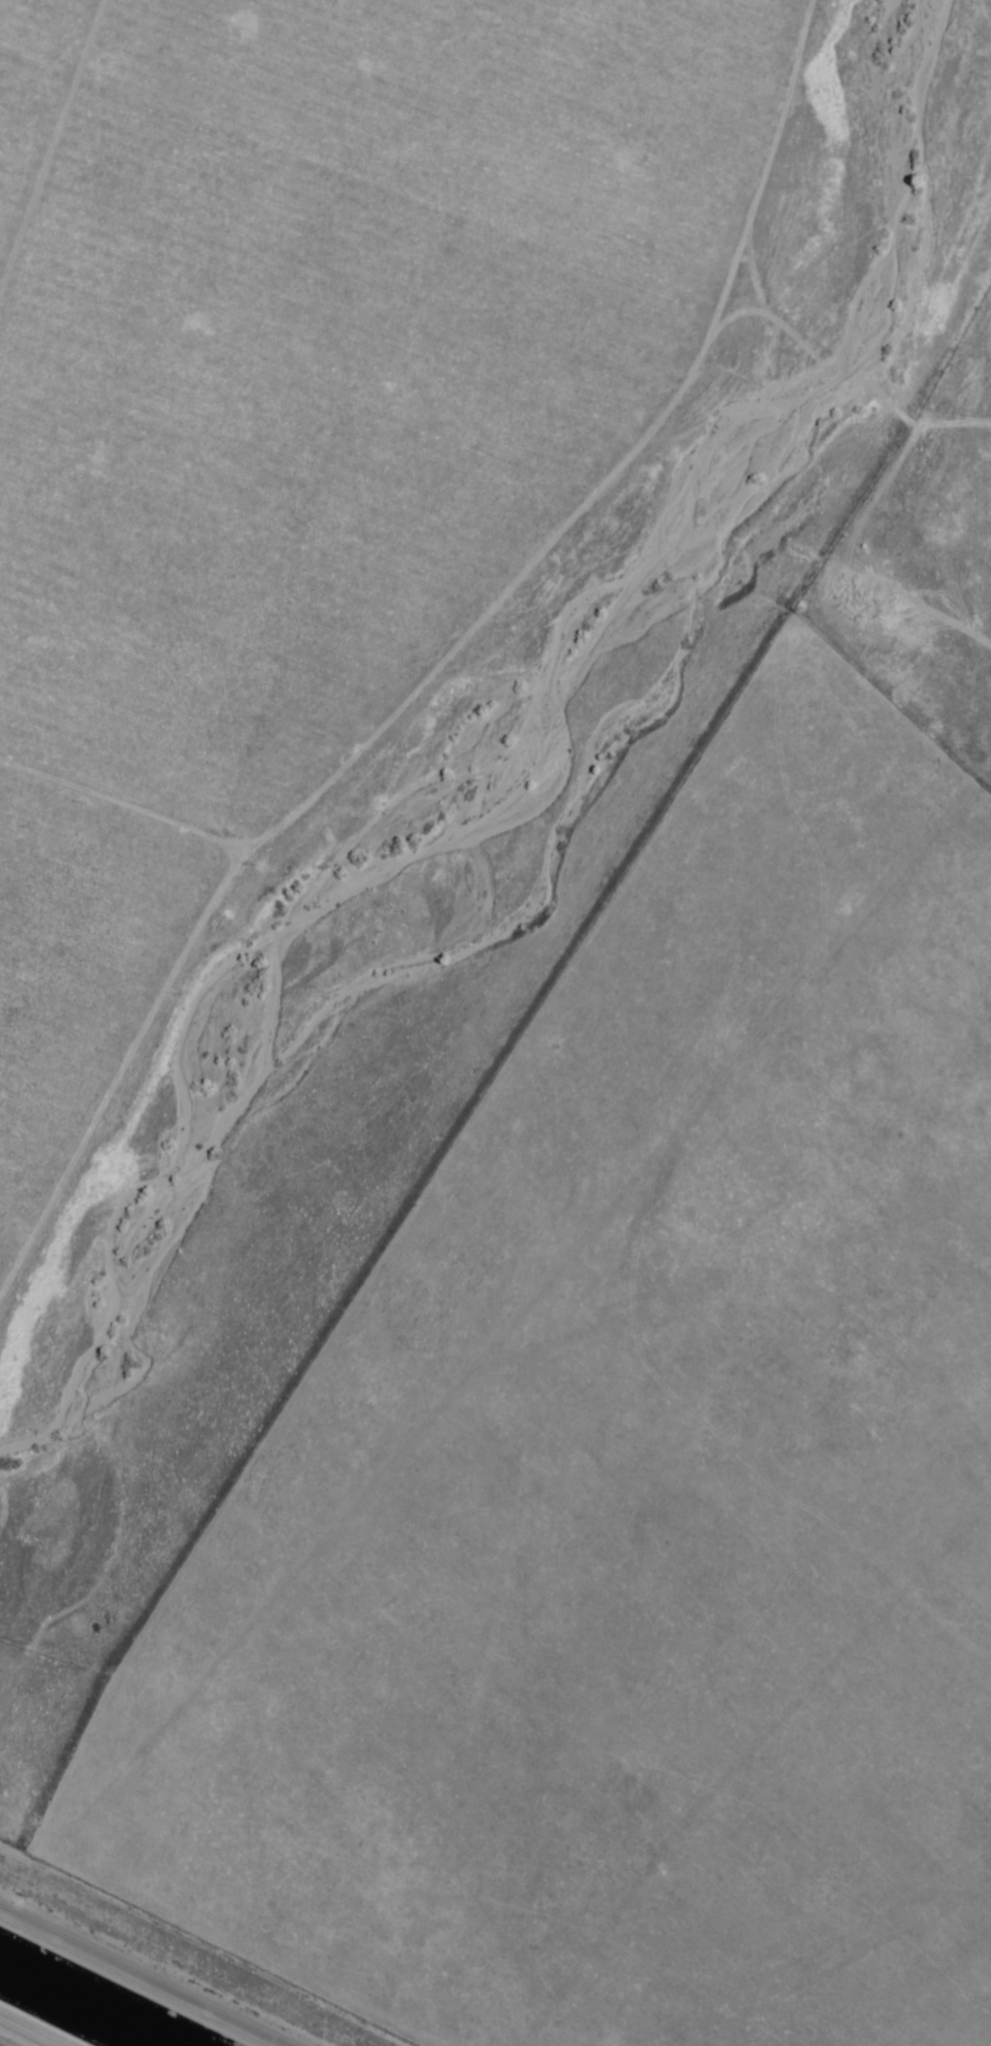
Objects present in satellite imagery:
road: (207, 1943)
road: (145, 1975)
road: (28, 2031)

